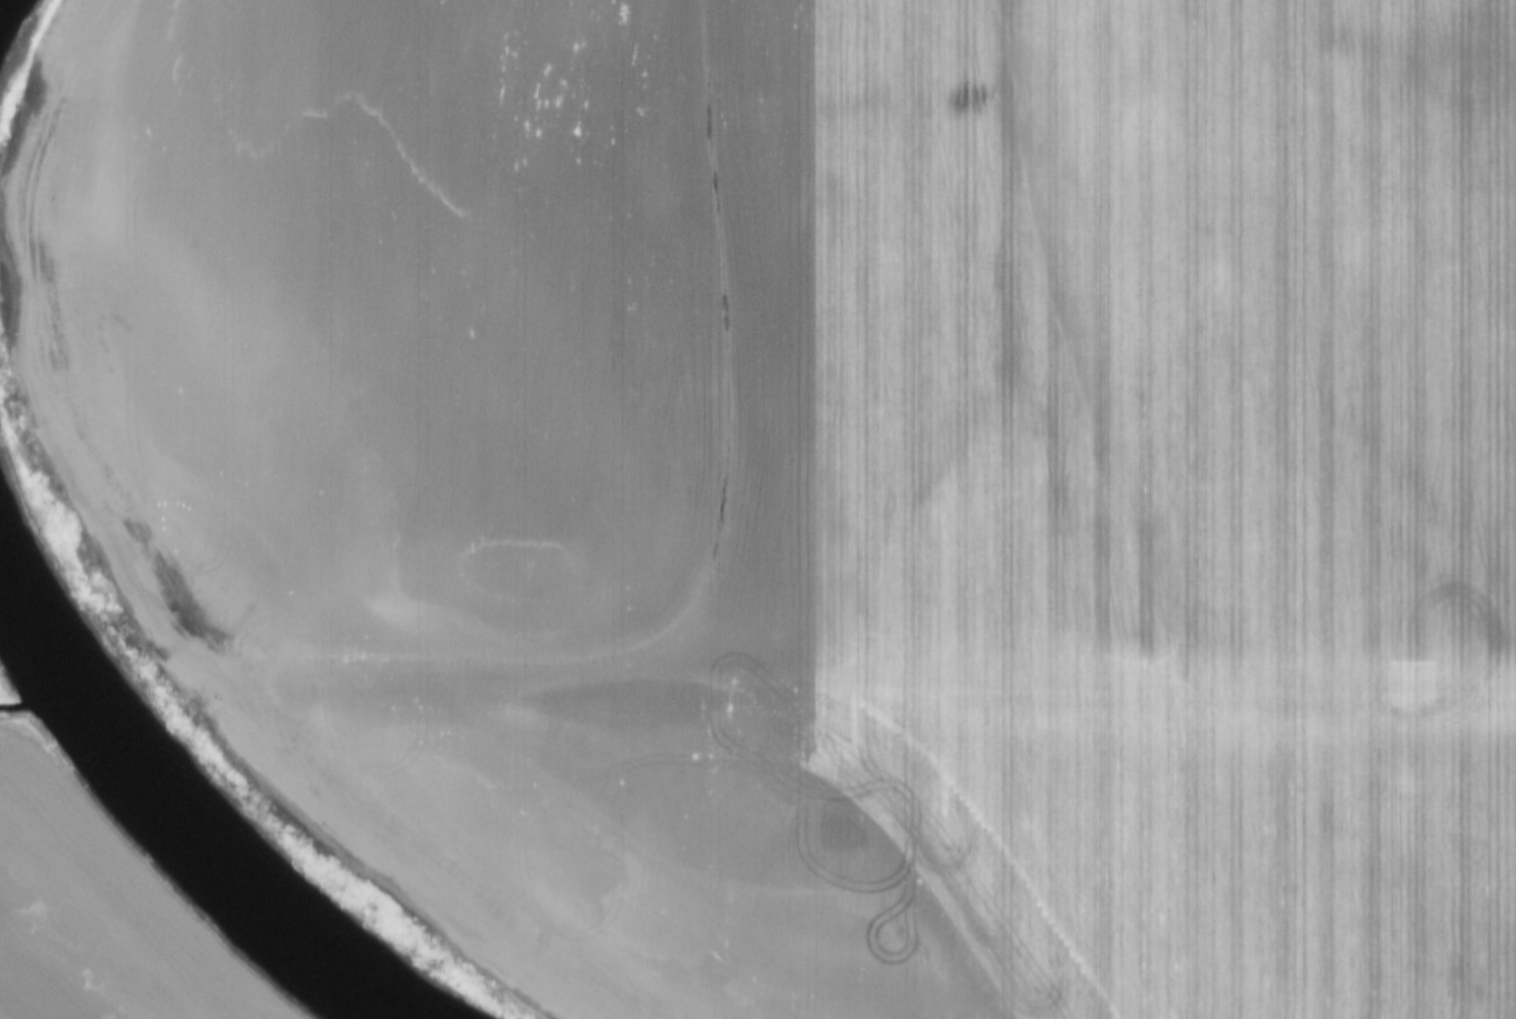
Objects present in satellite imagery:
river: (182, 808)

